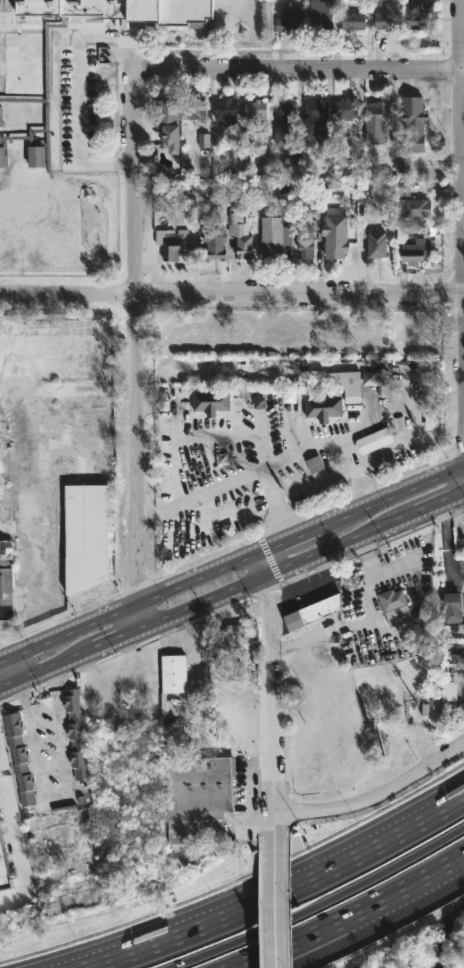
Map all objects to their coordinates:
building: (4, 5)
building: (322, 14)
building: (418, 14)
building: (388, 17)
building: (289, 18)
building: (353, 21)
building: (47, 70)
road: (298, 73)
building: (347, 107)
building: (414, 108)
building: (194, 109)
building: (255, 109)
building: (225, 111)
building: (1, 115)
building: (314, 116)
building: (376, 118)
building: (167, 120)
building: (284, 121)
building: (324, 140)
building: (262, 160)
road: (461, 164)
building: (416, 208)
building: (239, 233)
building: (335, 233)
building: (401, 234)
building: (284, 235)
building: (171, 242)
building: (377, 243)
building: (215, 245)
building: (412, 253)
road: (231, 293)
road: (136, 351)
building: (423, 377)
building: (369, 378)
building: (340, 382)
building: (391, 389)
building: (211, 402)
building: (325, 406)
road: (174, 436)
road: (232, 436)
building: (373, 440)
road: (323, 446)
road: (463, 476)
road: (360, 484)
road: (463, 489)
road: (434, 501)
road: (274, 503)
building: (85, 535)
road: (445, 548)
road: (231, 559)
building: (462, 566)
road: (277, 571)
building: (6, 585)
road: (237, 604)
building: (395, 607)
building: (452, 608)
building: (312, 613)
road: (271, 623)
building: (233, 631)
road: (120, 634)
road: (189, 644)
road: (48, 666)
road: (11, 668)
building: (172, 677)
building: (449, 699)
building: (75, 734)
road: (271, 755)
building: (19, 759)
road: (54, 788)
building: (197, 801)
road: (374, 803)
road: (272, 833)
road: (14, 837)
building: (4, 872)
road: (277, 892)
road: (288, 899)
road: (261, 901)
road: (320, 904)
road: (274, 912)
road: (350, 915)

